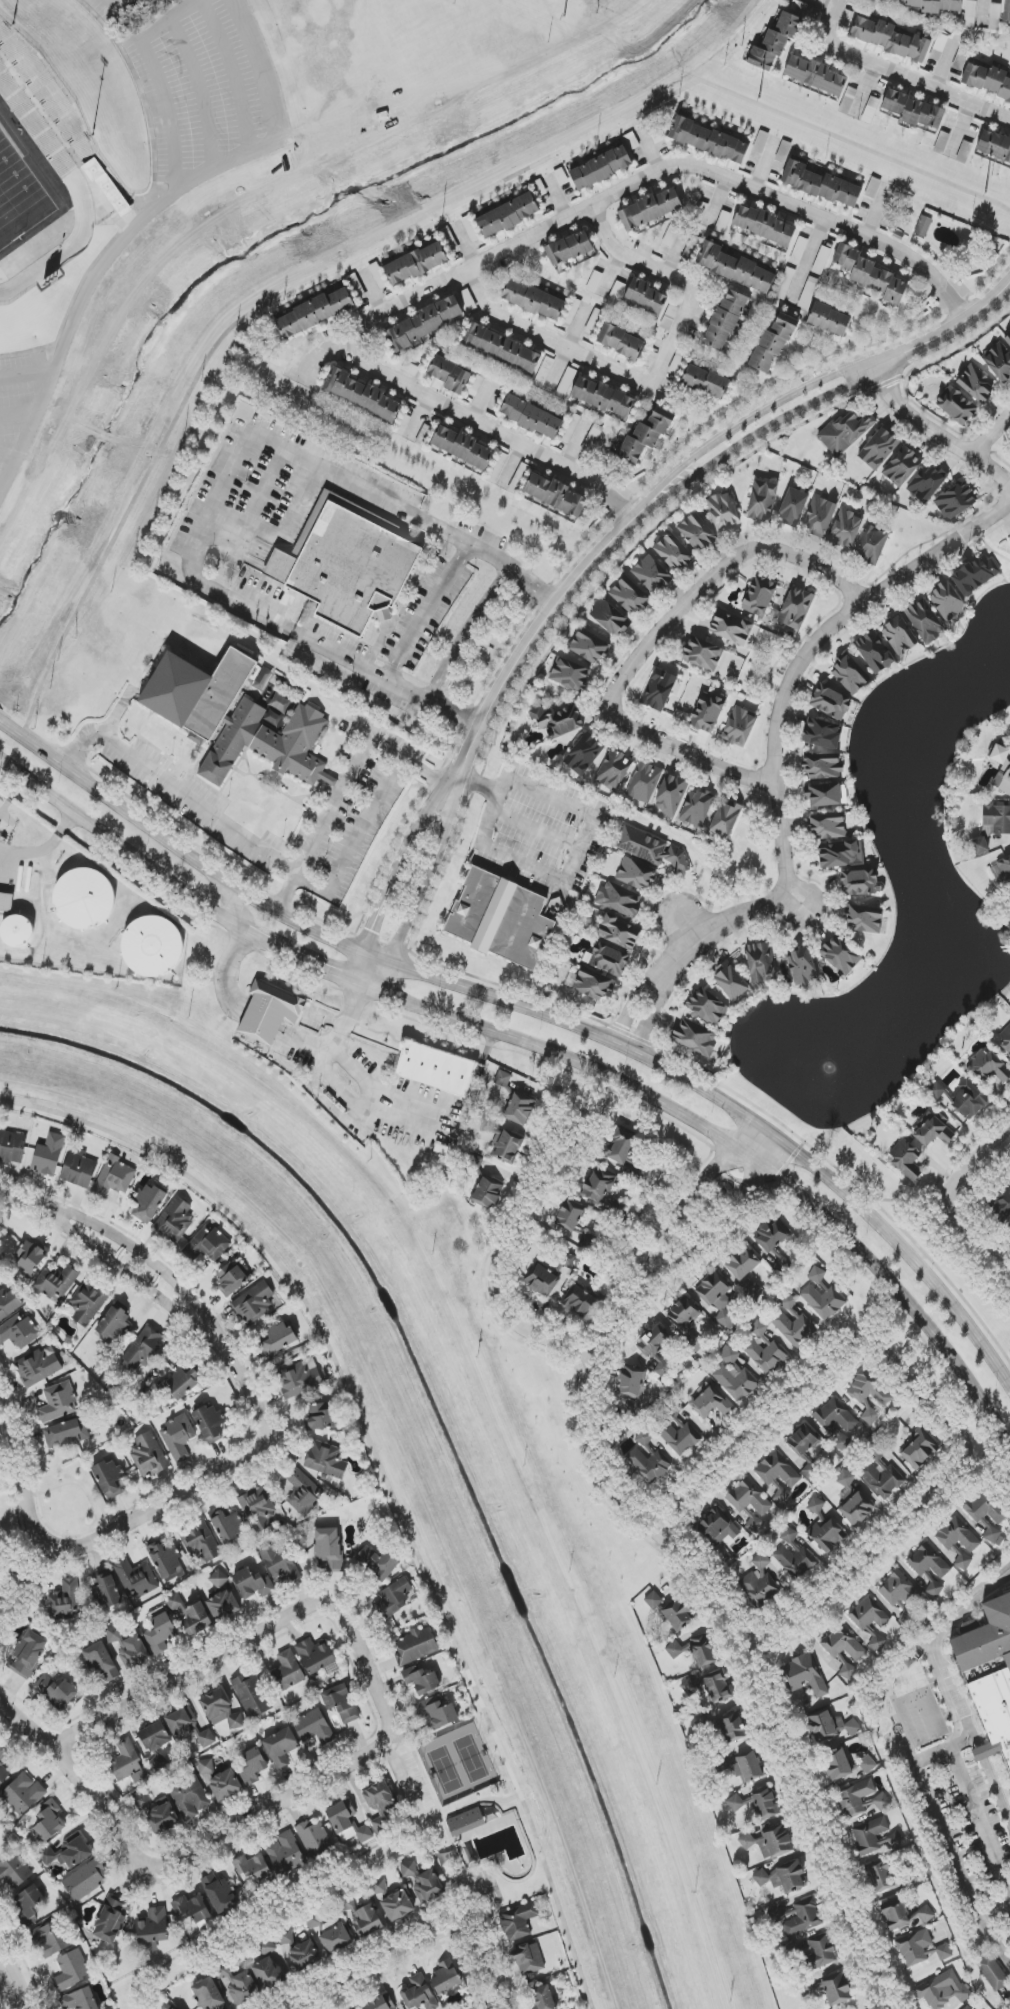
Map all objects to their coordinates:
building: (935, 5)
road: (118, 8)
building: (1007, 11)
building: (970, 13)
building: (994, 16)
building: (889, 38)
building: (775, 42)
building: (938, 47)
road: (946, 64)
road: (896, 74)
road: (233, 75)
building: (815, 75)
road: (157, 80)
building: (987, 80)
road: (204, 92)
road: (866, 93)
building: (914, 110)
road: (959, 132)
building: (709, 140)
building: (760, 141)
building: (995, 146)
road: (651, 151)
road: (766, 165)
building: (601, 168)
building: (821, 185)
building: (108, 187)
building: (872, 188)
park: (24, 190)
road: (559, 198)
road: (718, 204)
building: (650, 209)
road: (877, 212)
building: (508, 215)
road: (144, 220)
building: (764, 225)
building: (923, 226)
road: (409, 232)
road: (464, 245)
road: (511, 247)
building: (569, 248)
building: (416, 263)
road: (809, 263)
building: (736, 268)
building: (870, 274)
building: (378, 275)
road: (611, 277)
building: (785, 283)
road: (371, 293)
building: (646, 297)
building: (467, 300)
building: (533, 300)
building: (315, 312)
building: (829, 319)
building: (725, 320)
building: (425, 323)
building: (1008, 339)
building: (621, 341)
building: (772, 345)
building: (504, 349)
road: (568, 351)
road: (320, 352)
building: (999, 362)
building: (544, 372)
road: (25, 374)
building: (450, 374)
road: (655, 379)
building: (705, 381)
building: (566, 383)
building: (976, 383)
building: (361, 394)
building: (603, 397)
road: (481, 402)
building: (956, 405)
road: (15, 417)
building: (531, 417)
road: (419, 421)
building: (845, 432)
road: (935, 434)
building: (647, 435)
road: (990, 438)
road: (577, 445)
building: (461, 446)
building: (878, 448)
road: (6, 457)
building: (902, 466)
road: (512, 467)
road: (229, 472)
road: (684, 475)
building: (927, 483)
building: (555, 494)
building: (762, 501)
building: (955, 501)
road: (257, 502)
building: (793, 506)
building: (723, 511)
building: (819, 516)
building: (846, 528)
building: (697, 532)
building: (1009, 538)
building: (872, 544)
road: (988, 547)
building: (673, 551)
road: (490, 554)
building: (349, 566)
building: (652, 574)
building: (976, 574)
building: (629, 596)
building: (759, 596)
building: (946, 601)
building: (796, 608)
road: (428, 610)
building: (611, 619)
building: (924, 622)
building: (732, 627)
road: (470, 632)
building: (899, 635)
road: (649, 643)
building: (589, 646)
building: (874, 652)
building: (702, 654)
building: (570, 674)
building: (850, 674)
road: (387, 677)
building: (659, 689)
building: (831, 702)
building: (207, 707)
building: (707, 712)
road: (778, 721)
building: (559, 722)
building: (739, 727)
building: (821, 736)
building: (295, 746)
road: (399, 754)
building: (584, 754)
building: (999, 754)
building: (822, 766)
building: (614, 770)
road: (427, 776)
building: (645, 783)
building: (670, 795)
building: (826, 795)
road: (12, 798)
road: (196, 801)
building: (696, 808)
building: (995, 819)
building: (724, 822)
building: (828, 825)
road: (536, 831)
parking lot: (540, 832)
road: (582, 846)
building: (980, 846)
building: (651, 848)
road: (180, 851)
building: (841, 854)
building: (1004, 868)
building: (636, 874)
road: (396, 875)
building: (859, 882)
road: (732, 887)
road: (424, 888)
road: (683, 893)
road: (793, 897)
building: (85, 899)
building: (620, 899)
building: (6, 901)
road: (237, 908)
road: (713, 909)
building: (864, 919)
building: (503, 920)
road: (681, 928)
building: (17, 931)
building: (619, 932)
building: (153, 945)
building: (841, 955)
building: (609, 959)
building: (760, 962)
building: (802, 965)
road: (226, 969)
building: (730, 981)
building: (594, 984)
road: (631, 1006)
building: (707, 1006)
building: (270, 1012)
road: (654, 1018)
building: (695, 1037)
building: (1006, 1045)
road: (542, 1050)
building: (989, 1066)
building: (435, 1069)
building: (503, 1079)
road: (333, 1085)
building: (936, 1091)
building: (519, 1109)
road: (730, 1109)
building: (934, 1130)
road: (742, 1135)
building: (12, 1146)
building: (508, 1146)
building: (622, 1146)
building: (49, 1154)
building: (906, 1159)
building: (473, 1161)
building: (641, 1169)
building: (79, 1170)
building: (114, 1177)
building: (598, 1187)
building: (486, 1193)
road: (946, 1197)
building: (149, 1202)
building: (1003, 1203)
building: (569, 1216)
building: (174, 1220)
building: (771, 1235)
building: (207, 1244)
building: (30, 1259)
road: (148, 1261)
road: (497, 1266)
building: (744, 1270)
road: (1005, 1274)
building: (234, 1277)
building: (547, 1278)
building: (56, 1282)
road: (153, 1294)
building: (821, 1295)
building: (719, 1299)
building: (88, 1302)
building: (8, 1303)
building: (254, 1303)
building: (581, 1303)
road: (687, 1321)
building: (114, 1323)
building: (686, 1323)
building: (792, 1323)
building: (18, 1331)
building: (278, 1338)
building: (657, 1347)
building: (144, 1349)
building: (764, 1349)
road: (281, 1361)
building: (39, 1366)
building: (734, 1376)
building: (300, 1379)
building: (631, 1382)
building: (180, 1383)
building: (869, 1389)
building: (58, 1402)
building: (712, 1403)
road: (785, 1408)
building: (320, 1416)
building: (870, 1417)
building: (836, 1419)
building: (210, 1423)
building: (676, 1429)
building: (66, 1433)
building: (178, 1437)
building: (802, 1440)
building: (918, 1449)
building: (876, 1452)
building: (148, 1455)
building: (326, 1459)
building: (648, 1463)
road: (17, 1465)
building: (777, 1471)
road: (384, 1478)
building: (110, 1479)
building: (845, 1479)
building: (883, 1480)
road: (78, 1485)
building: (304, 1493)
building: (782, 1496)
building: (748, 1498)
building: (857, 1508)
road: (154, 1509)
building: (258, 1509)
building: (987, 1515)
building: (226, 1525)
building: (717, 1527)
building: (827, 1535)
road: (898, 1535)
building: (957, 1535)
building: (200, 1542)
building: (328, 1548)
building: (793, 1555)
road: (15, 1559)
road: (687, 1559)
building: (167, 1560)
building: (962, 1560)
building: (279, 1562)
building: (928, 1562)
building: (377, 1563)
building: (136, 1578)
building: (218, 1579)
building: (760, 1581)
building: (252, 1584)
building: (934, 1587)
building: (106, 1590)
building: (899, 1591)
building: (393, 1598)
building: (65, 1600)
building: (652, 1600)
building: (174, 1601)
building: (224, 1605)
building: (676, 1612)
building: (198, 1617)
building: (161, 1633)
building: (416, 1646)
building: (128, 1647)
building: (675, 1649)
building: (845, 1650)
road: (220, 1652)
building: (702, 1652)
building: (28, 1654)
building: (315, 1656)
building: (101, 1661)
building: (288, 1671)
building: (806, 1675)
building: (997, 1677)
building: (421, 1680)
building: (692, 1688)
building: (716, 1688)
building: (57, 1691)
building: (251, 1695)
building: (341, 1703)
building: (221, 1710)
building: (437, 1712)
building: (830, 1725)
building: (189, 1727)
building: (314, 1727)
building: (731, 1728)
road: (977, 1738)
building: (155, 1743)
building: (280, 1747)
road: (937, 1751)
road: (387, 1753)
road: (984, 1753)
building: (127, 1762)
park: (457, 1765)
building: (844, 1765)
building: (206, 1766)
building: (252, 1766)
building: (742, 1766)
building: (3, 1767)
road: (77, 1783)
building: (225, 1785)
road: (406, 1787)
parking lot: (411, 1787)
road: (998, 1788)
road: (303, 1789)
building: (23, 1794)
building: (190, 1797)
building: (379, 1797)
building: (862, 1799)
building: (142, 1800)
road: (472, 1800)
road: (478, 1803)
building: (735, 1803)
building: (766, 1804)
building: (164, 1818)
road: (980, 1819)
park: (467, 1820)
building: (49, 1822)
building: (466, 1822)
building: (348, 1823)
building: (869, 1835)
building: (315, 1839)
building: (768, 1842)
building: (69, 1854)
building: (252, 1867)
building: (409, 1868)
building: (14, 1871)
building: (880, 1876)
building: (783, 1878)
building: (85, 1880)
building: (429, 1887)
building: (219, 1893)
building: (29, 1905)
building: (397, 1905)
building: (192, 1908)
building: (904, 1916)
building: (798, 1917)
building: (112, 1919)
building: (314, 1921)
building: (518, 1921)
building: (367, 1922)
building: (153, 1926)
building: (51, 1939)
building: (335, 1939)
building: (914, 1947)
building: (944, 1952)
building: (820, 1953)
road: (420, 1954)
building: (304, 1955)
building: (529, 1959)
building: (71, 1971)
building: (993, 1972)
building: (267, 1973)
building: (446, 1977)
road: (6, 1980)
road: (14, 1981)
building: (244, 1988)
building: (836, 1989)
building: (942, 1990)
building: (418, 1993)
building: (209, 1994)
building: (544, 1998)
building: (79, 2000)
road: (2, 2002)
building: (380, 2003)
building: (361, 2008)
building: (969, 2008)

